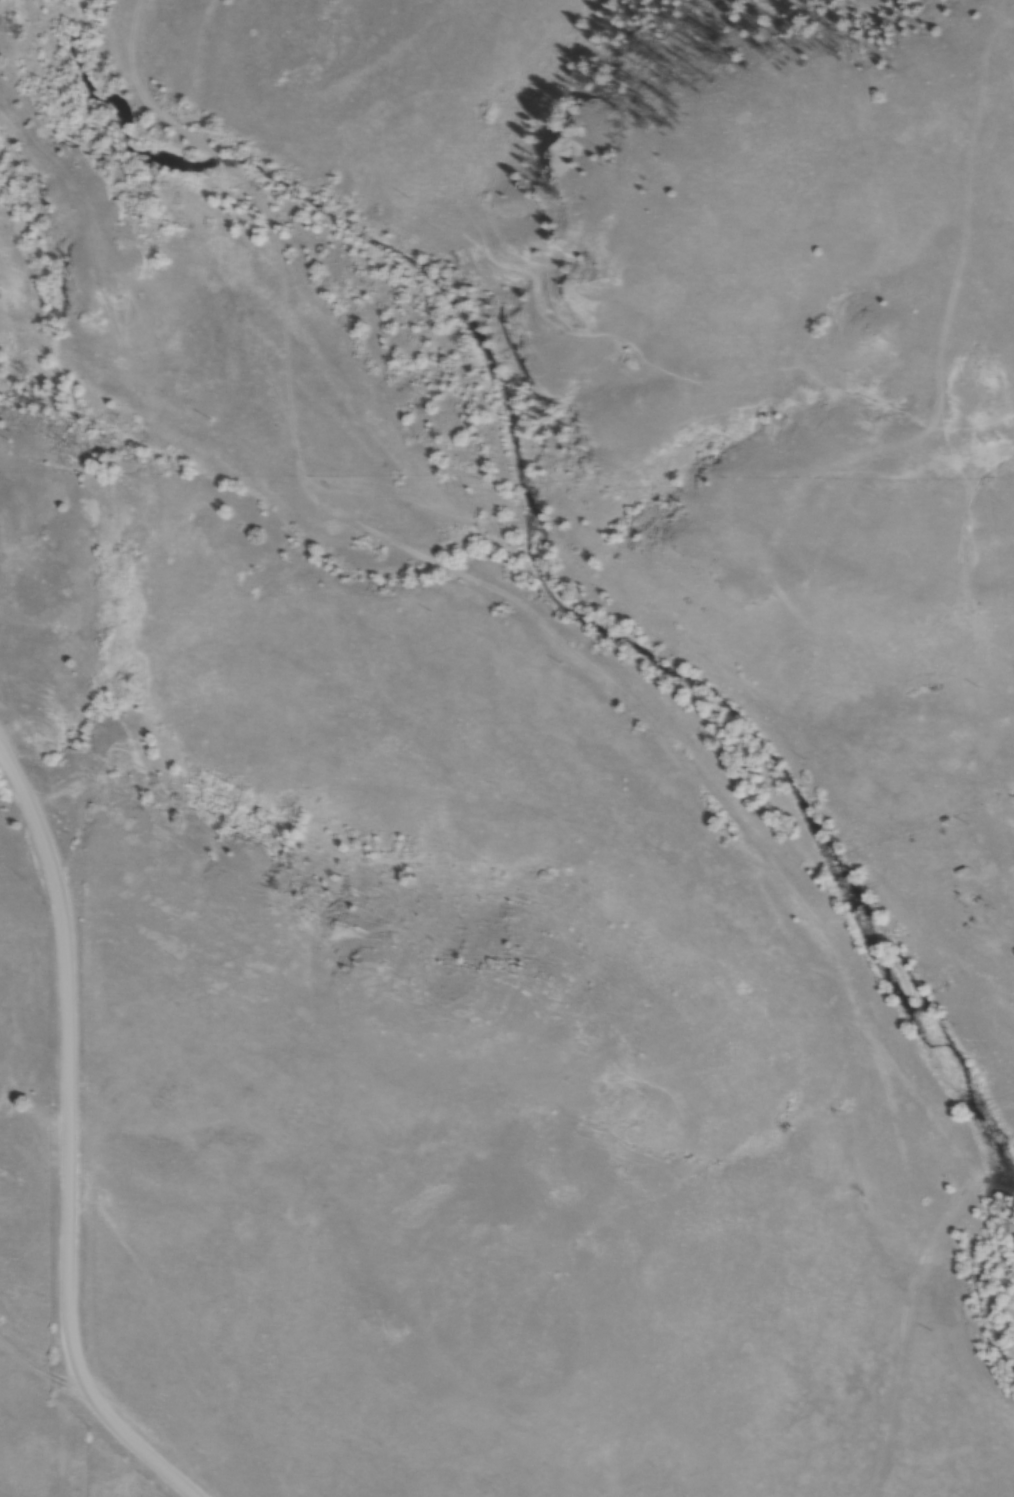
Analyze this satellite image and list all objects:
building: (152, 173)
road: (70, 1140)

